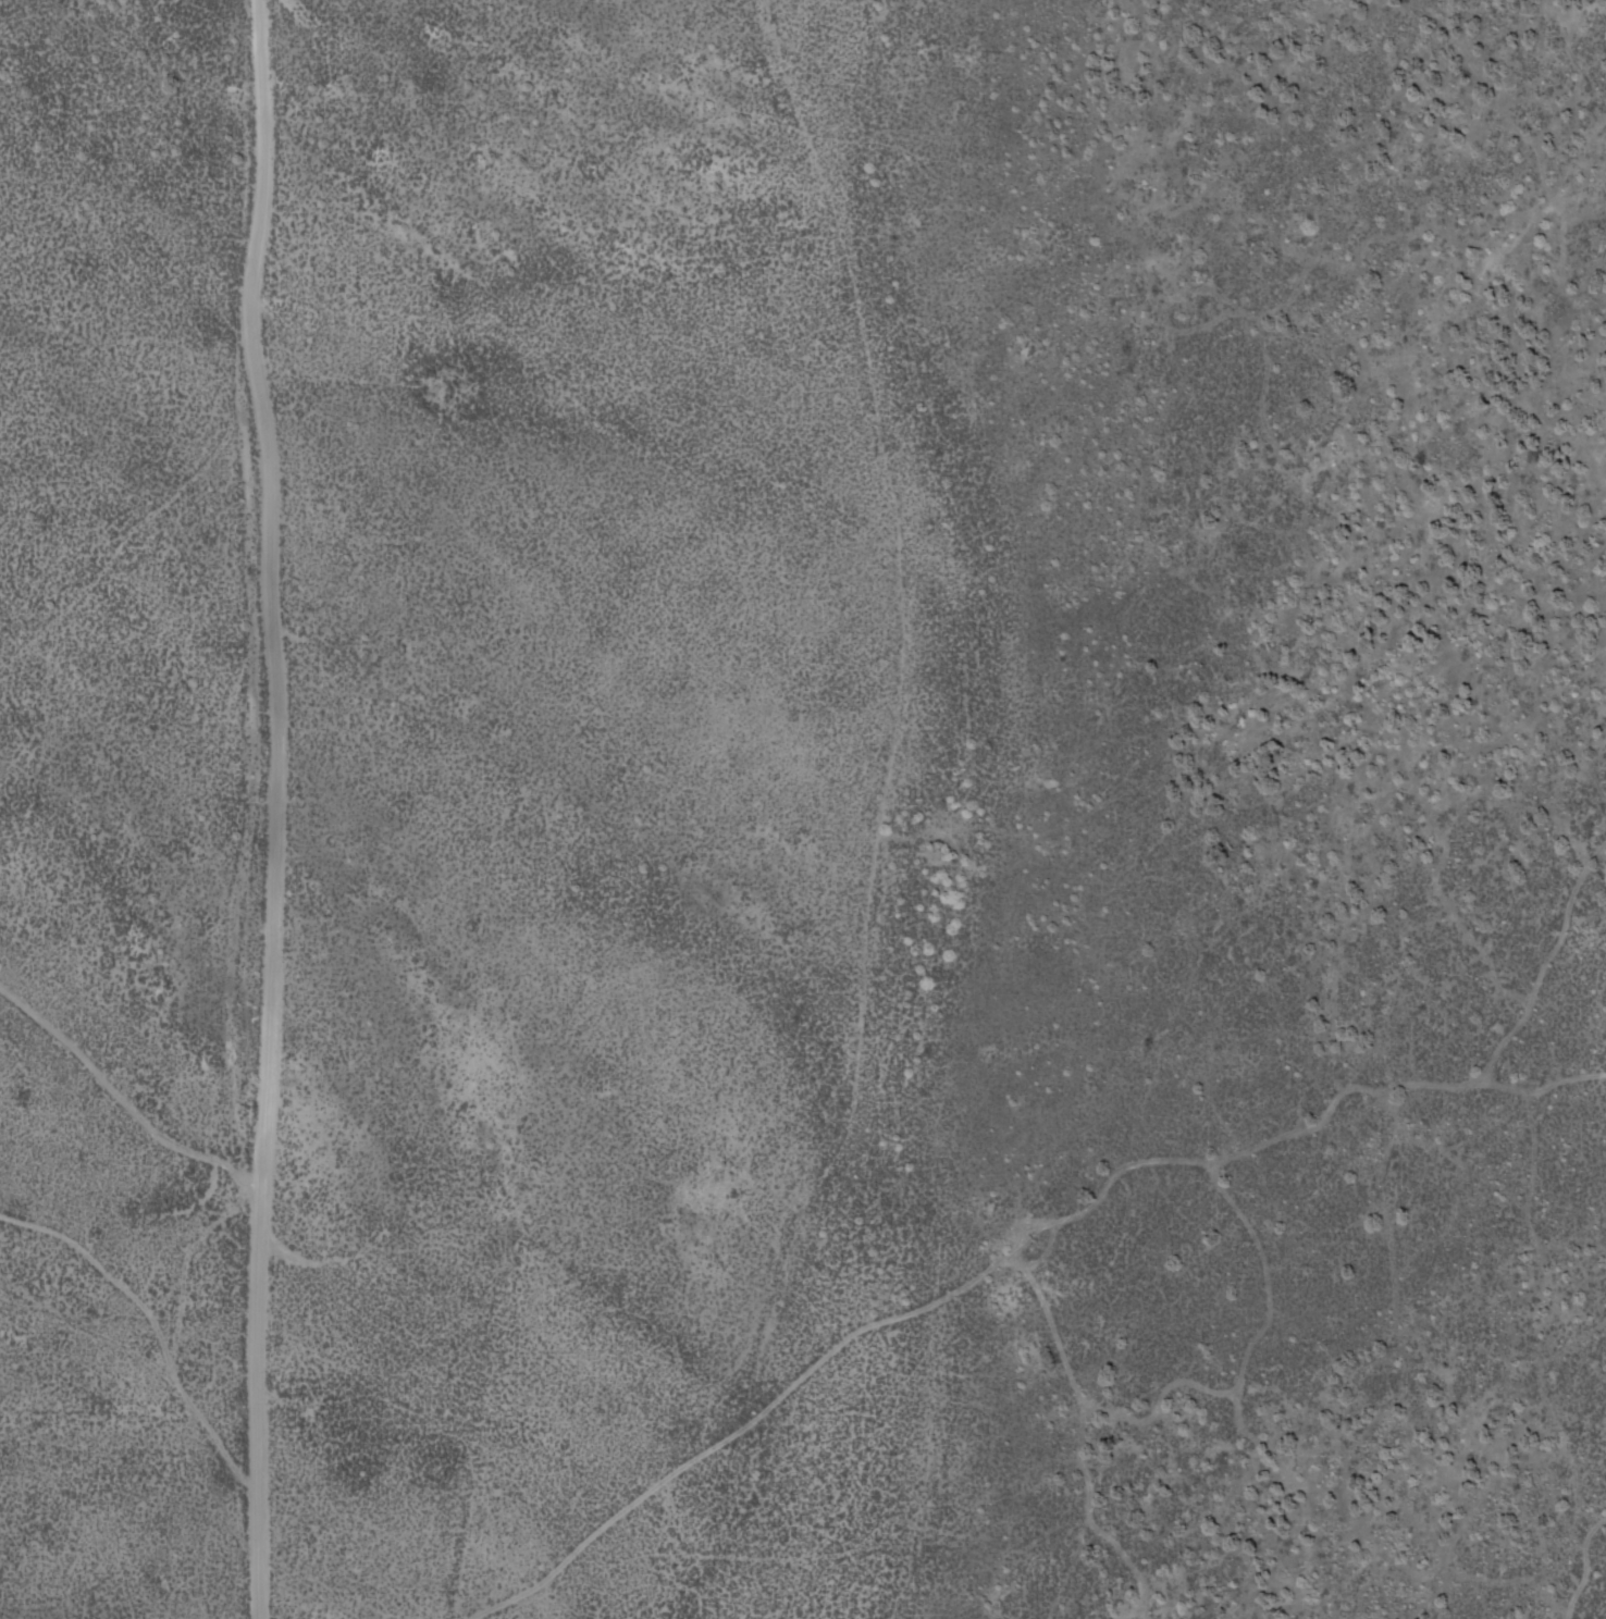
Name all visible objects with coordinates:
road: (294, 810)

